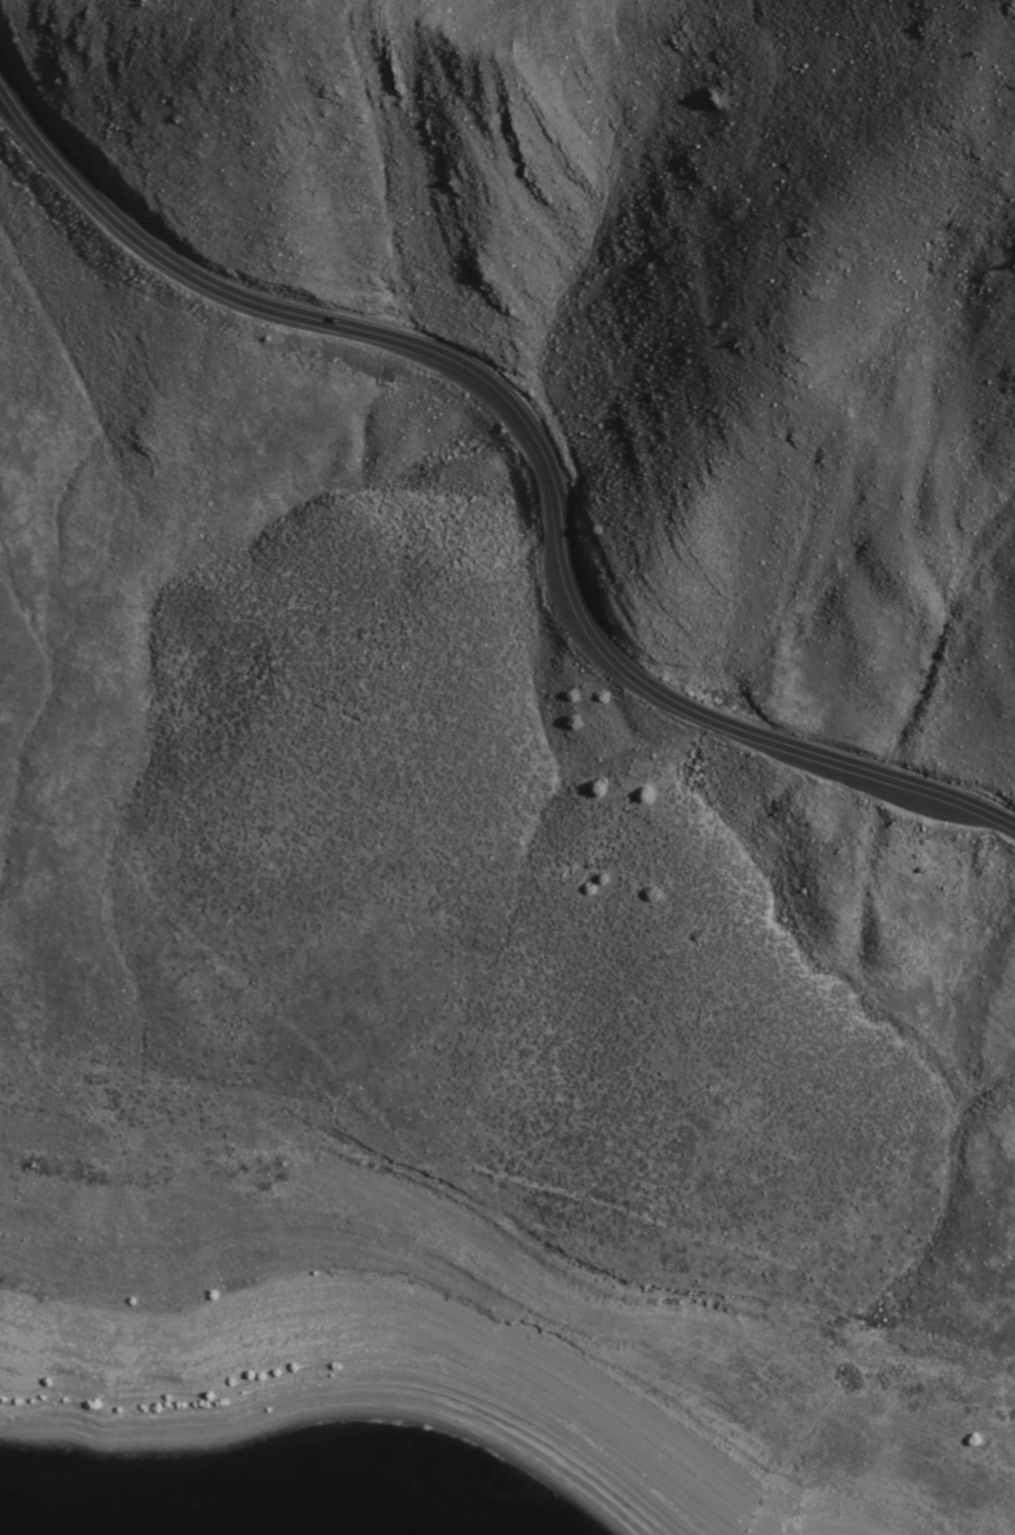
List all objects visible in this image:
road: (536, 439)
road: (64, 1060)
road: (513, 1237)

